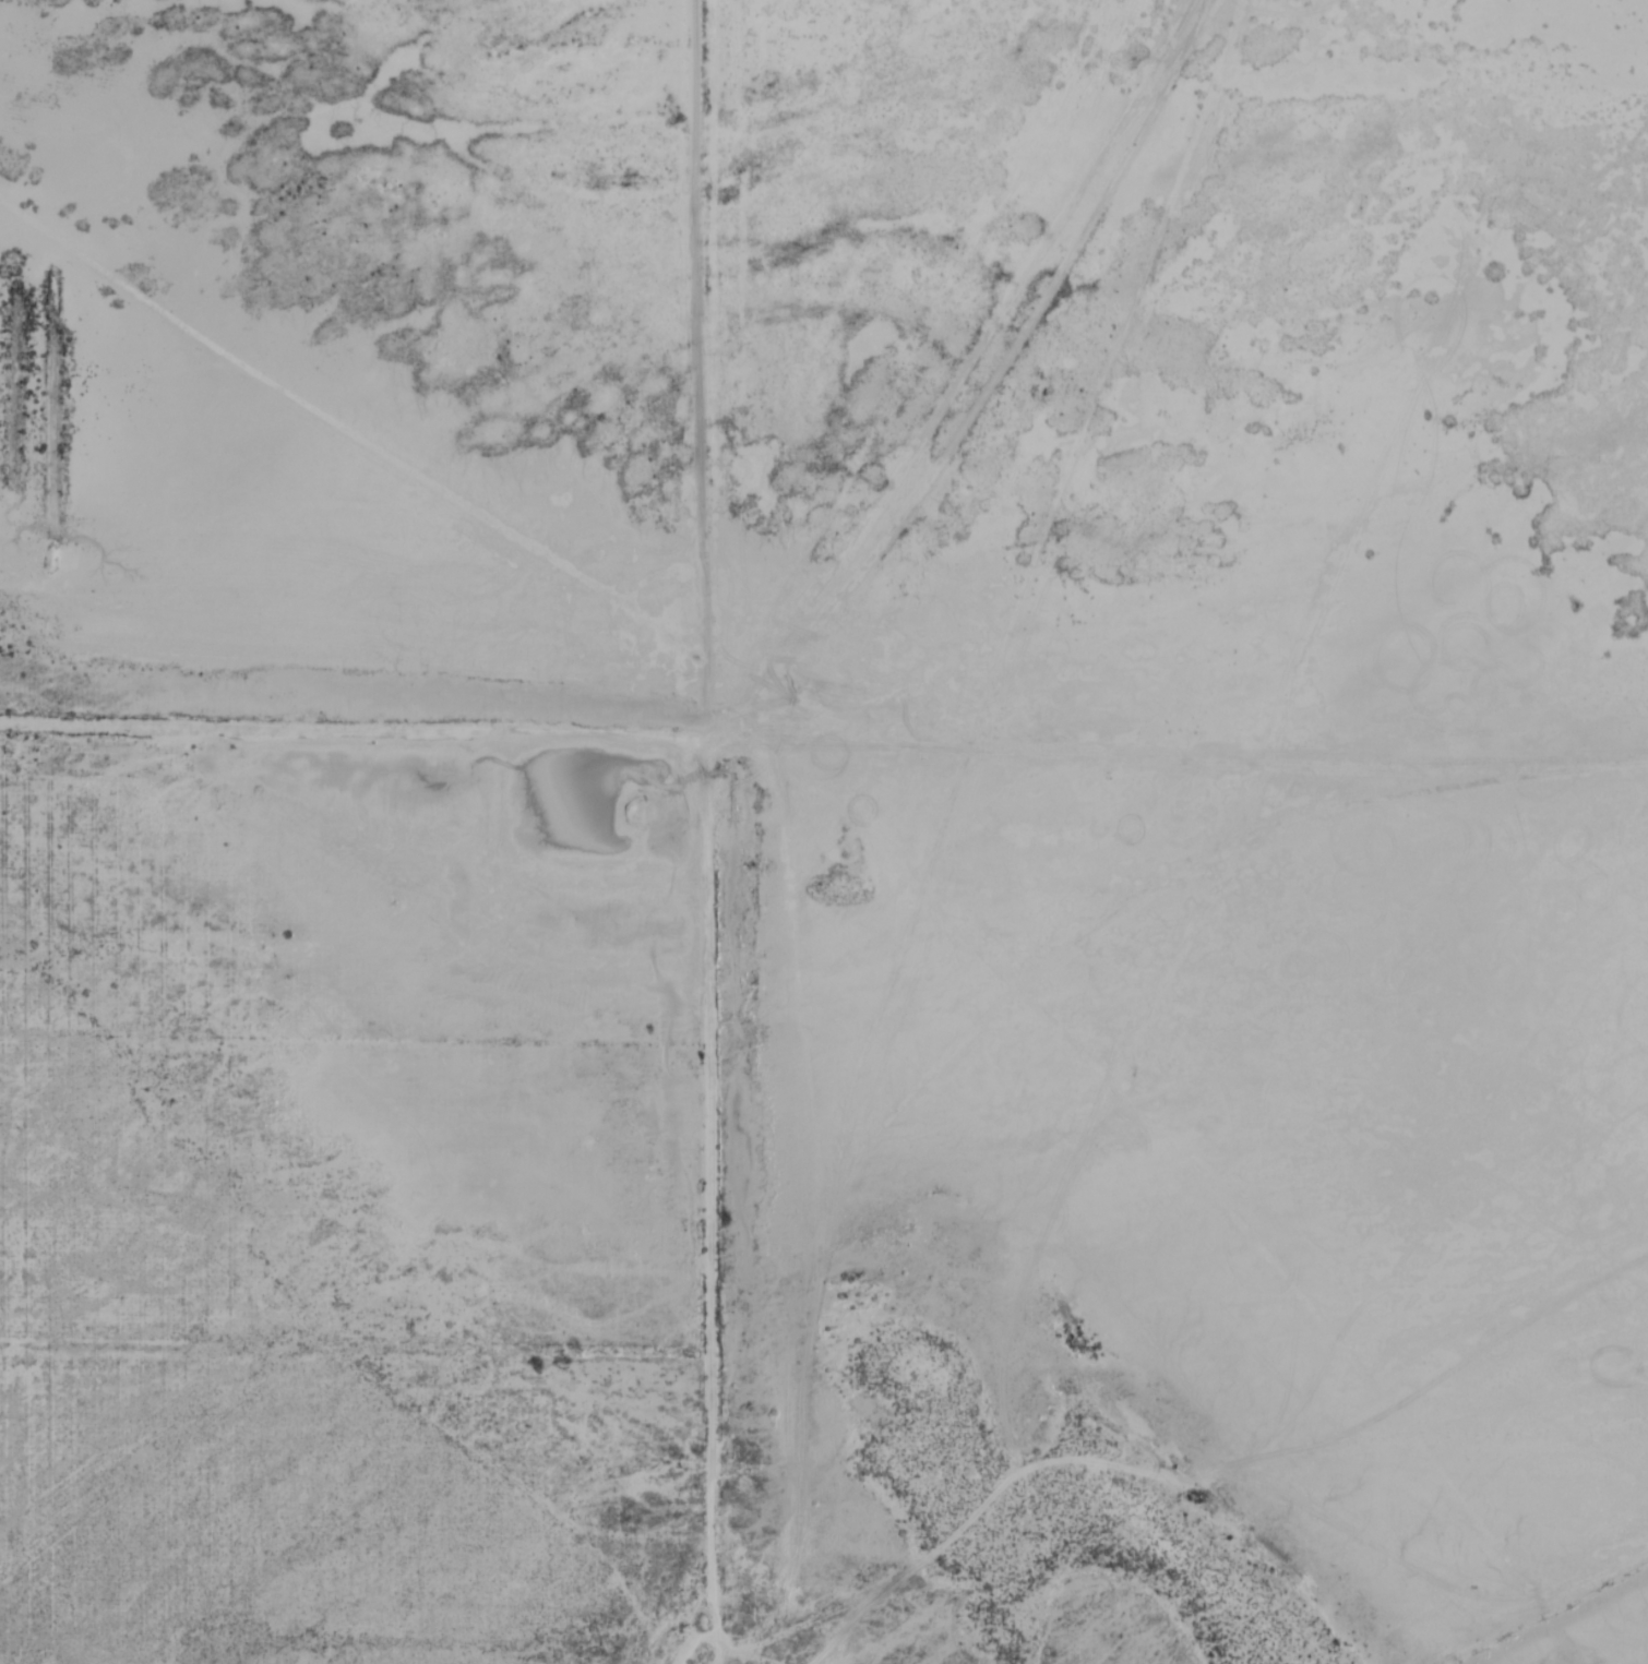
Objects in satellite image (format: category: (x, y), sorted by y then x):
road: (690, 370)
road: (963, 380)
road: (346, 451)
road: (346, 732)
road: (697, 1202)
airport runway: (297, 1315)

